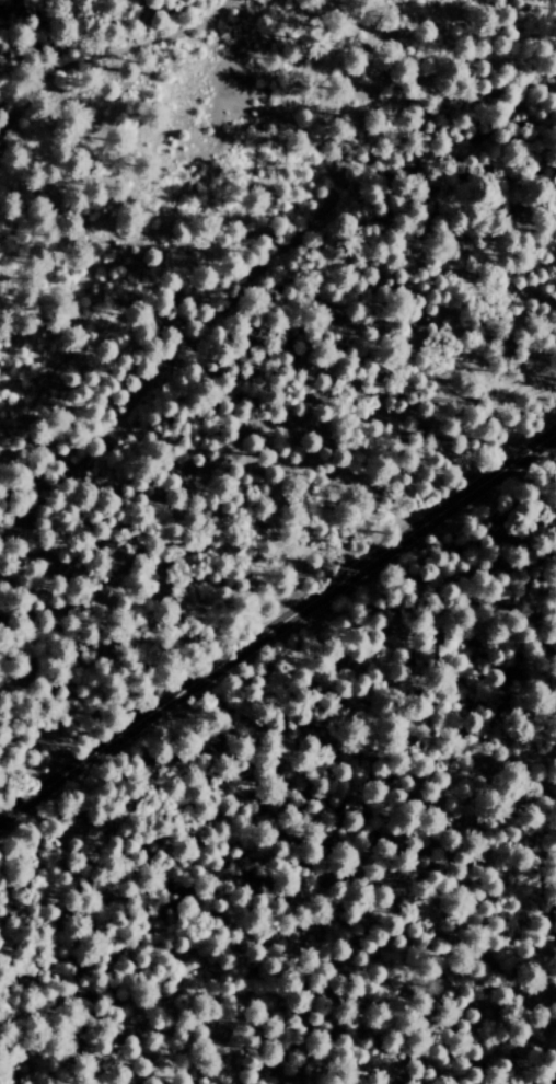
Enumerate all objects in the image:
road: (101, 57)
road: (255, 268)
road: (278, 624)
road: (260, 726)
road: (275, 798)

